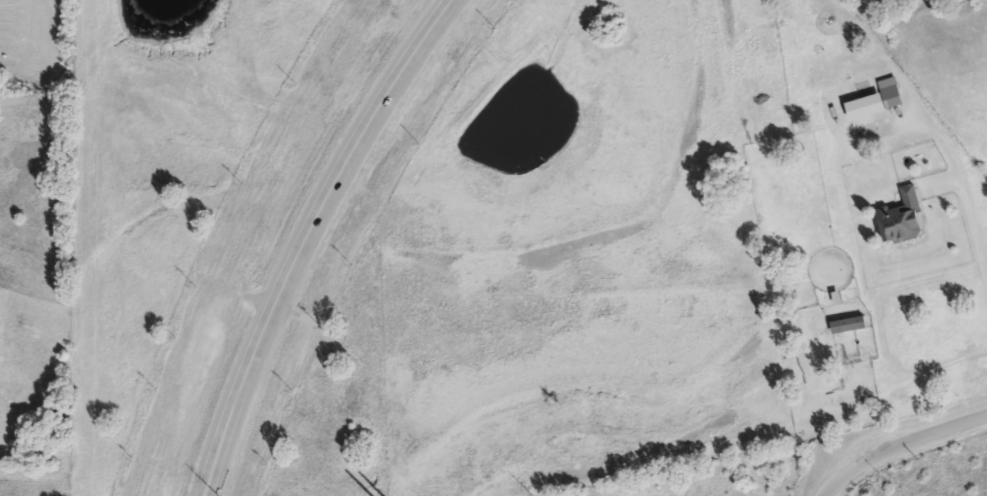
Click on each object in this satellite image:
building: (872, 104)
road: (965, 201)
building: (903, 221)
road: (308, 236)
building: (795, 289)
building: (827, 349)
road: (902, 446)

